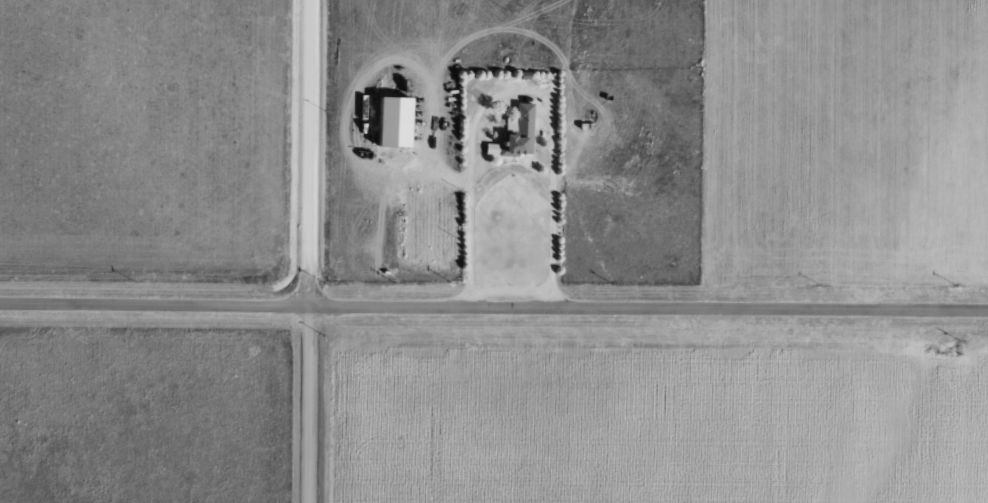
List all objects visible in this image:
road: (516, 94)
road: (512, 172)
road: (318, 252)
road: (493, 310)

